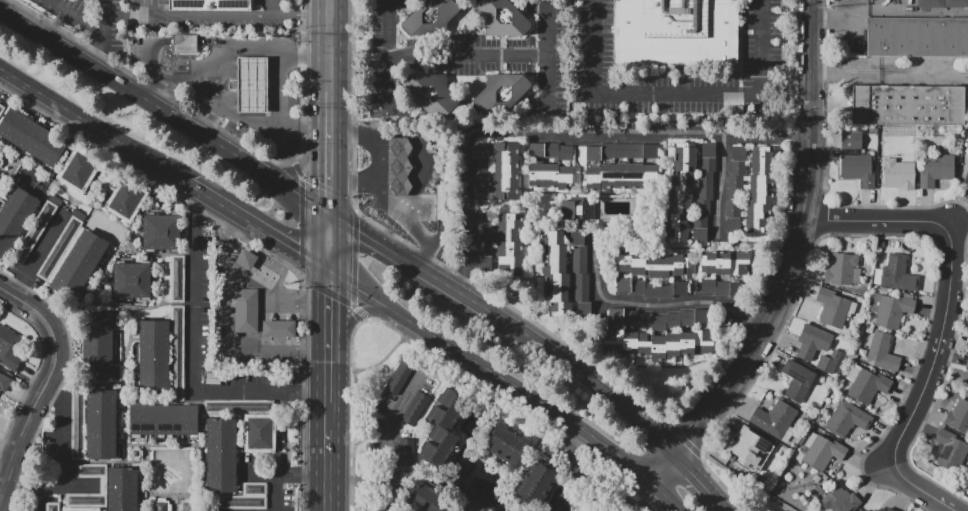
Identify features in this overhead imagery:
building: (930, 3)
building: (956, 3)
building: (213, 4)
road: (274, 7)
road: (145, 8)
road: (888, 11)
road: (209, 15)
road: (77, 16)
road: (302, 16)
building: (431, 18)
building: (502, 18)
road: (331, 25)
building: (677, 32)
road: (104, 33)
building: (918, 37)
road: (188, 41)
building: (185, 44)
road: (221, 46)
road: (758, 46)
road: (596, 48)
road: (232, 51)
road: (391, 53)
road: (437, 54)
road: (546, 58)
road: (148, 60)
road: (1, 71)
road: (331, 71)
road: (888, 75)
building: (252, 86)
gas station: (252, 86)
road: (130, 88)
building: (431, 93)
building: (502, 93)
road: (676, 94)
road: (212, 103)
building: (908, 105)
building: (1, 108)
road: (330, 112)
road: (87, 121)
road: (270, 121)
road: (220, 128)
road: (562, 136)
building: (32, 137)
building: (851, 140)
road: (400, 158)
road: (421, 165)
building: (550, 165)
building: (401, 167)
gas station: (401, 167)
building: (620, 167)
road: (303, 168)
building: (857, 169)
building: (936, 169)
building: (78, 170)
road: (432, 170)
building: (495, 171)
road: (330, 172)
building: (898, 172)
road: (400, 177)
building: (966, 179)
park: (1, 181)
road: (354, 183)
road: (723, 183)
road: (380, 188)
road: (295, 190)
building: (750, 190)
building: (690, 192)
traffic signals: (330, 193)
road: (401, 196)
building: (55, 199)
building: (126, 199)
building: (439, 203)
road: (439, 203)
building: (577, 210)
building: (79, 214)
road: (300, 217)
building: (15, 218)
road: (252, 223)
park: (105, 227)
traffic signals: (358, 231)
building: (34, 232)
building: (161, 232)
road: (435, 234)
road: (251, 241)
road: (330, 241)
road: (796, 242)
building: (500, 243)
building: (59, 248)
road: (40, 252)
traffic signals: (299, 252)
building: (246, 260)
road: (409, 262)
building: (725, 262)
road: (275, 264)
building: (651, 264)
building: (80, 265)
building: (842, 269)
building: (565, 274)
building: (897, 274)
road: (949, 274)
building: (177, 278)
building: (132, 279)
road: (255, 279)
building: (720, 287)
building: (652, 288)
road: (335, 296)
traffic signals: (330, 297)
road: (27, 304)
road: (655, 304)
building: (837, 306)
building: (890, 309)
building: (245, 310)
road: (358, 312)
building: (659, 318)
road: (387, 325)
road: (271, 328)
road: (287, 328)
building: (278, 329)
road: (330, 335)
building: (866, 338)
building: (813, 343)
building: (658, 344)
building: (101, 346)
building: (9, 348)
building: (883, 352)
building: (153, 353)
building: (177, 353)
road: (231, 354)
road: (194, 357)
building: (831, 364)
building: (966, 364)
road: (35, 371)
road: (493, 372)
road: (584, 375)
building: (398, 377)
road: (62, 379)
building: (797, 380)
building: (4, 382)
building: (868, 386)
building: (240, 407)
building: (415, 408)
building: (447, 409)
road: (32, 413)
building: (958, 417)
building: (773, 419)
building: (847, 419)
building: (163, 420)
building: (78, 424)
building: (101, 425)
road: (63, 431)
building: (260, 433)
road: (392, 438)
road: (353, 440)
building: (446, 446)
building: (506, 446)
building: (749, 446)
building: (406, 451)
building: (822, 451)
building: (950, 451)
building: (221, 454)
road: (328, 456)
road: (664, 464)
building: (92, 470)
road: (285, 475)
road: (698, 481)
road: (913, 484)
road: (50, 485)
building: (537, 485)
building: (122, 489)
road: (359, 490)
park: (748, 490)
road: (275, 493)
road: (669, 494)
building: (244, 497)
road: (37, 499)
building: (426, 499)
building: (86, 500)
building: (839, 500)
building: (160, 504)
building: (52, 506)
building: (186, 506)
road: (951, 508)
building: (452, 509)
building: (885, 509)
building: (86, 510)
building: (865, 510)
building: (873, 510)

